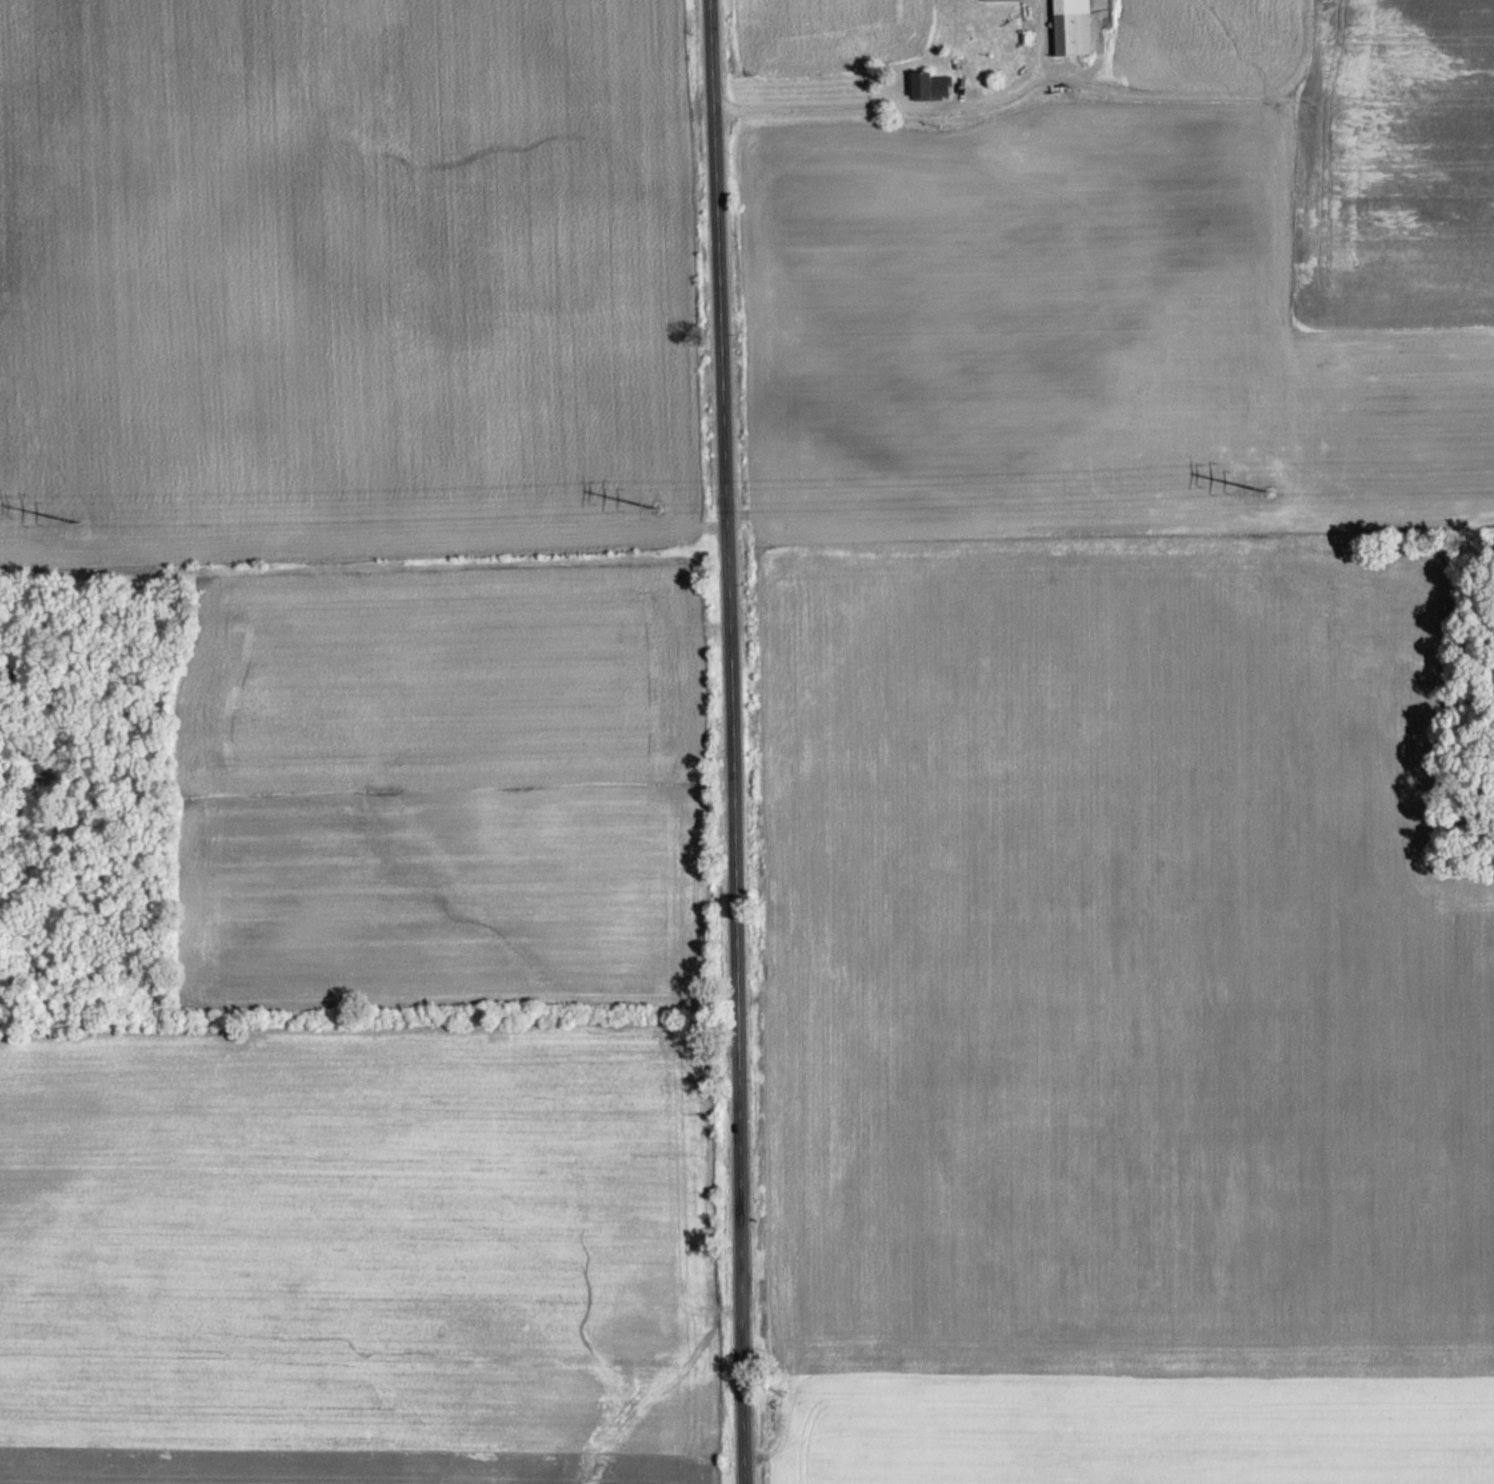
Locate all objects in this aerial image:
building: (989, 0)
building: (1074, 24)
building: (930, 80)
road: (906, 105)
power tower: (1266, 492)
power tower: (658, 513)
power tower: (80, 520)
road: (734, 741)

